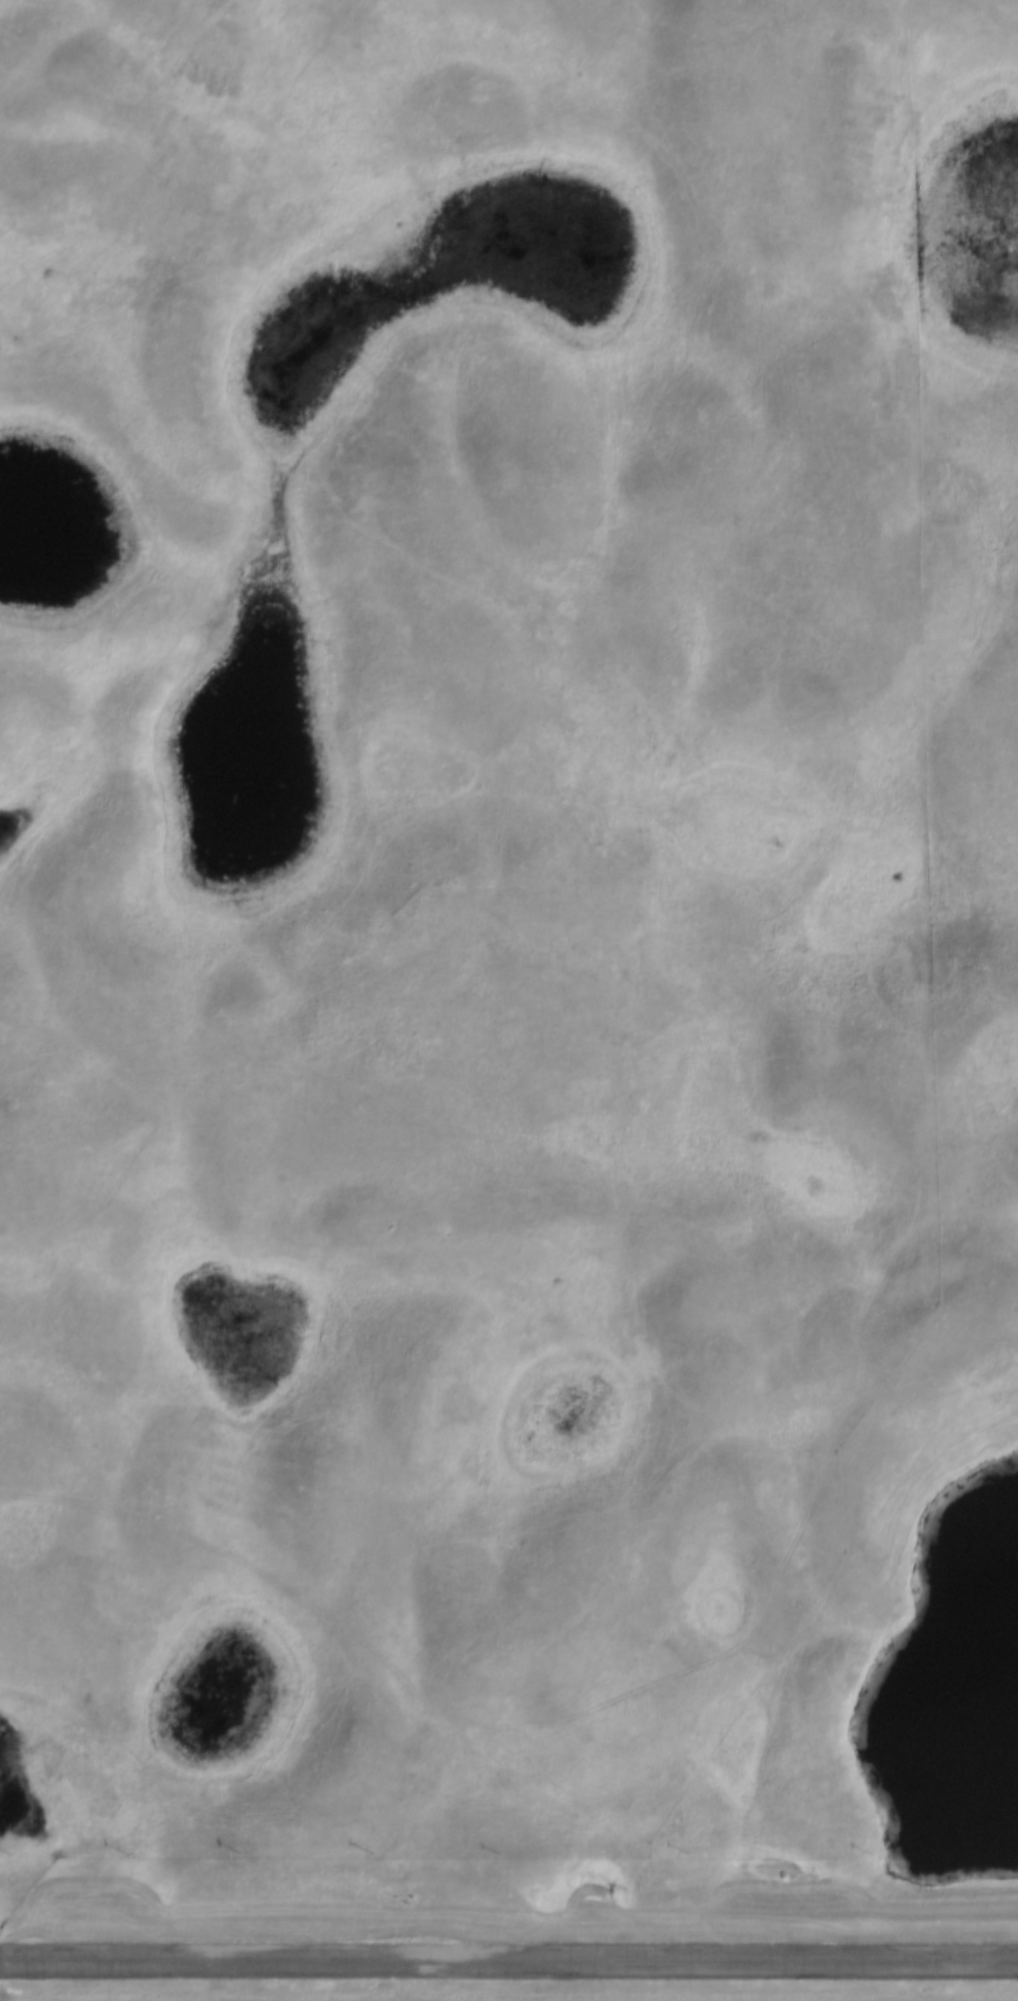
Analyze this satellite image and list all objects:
road: (509, 1959)

